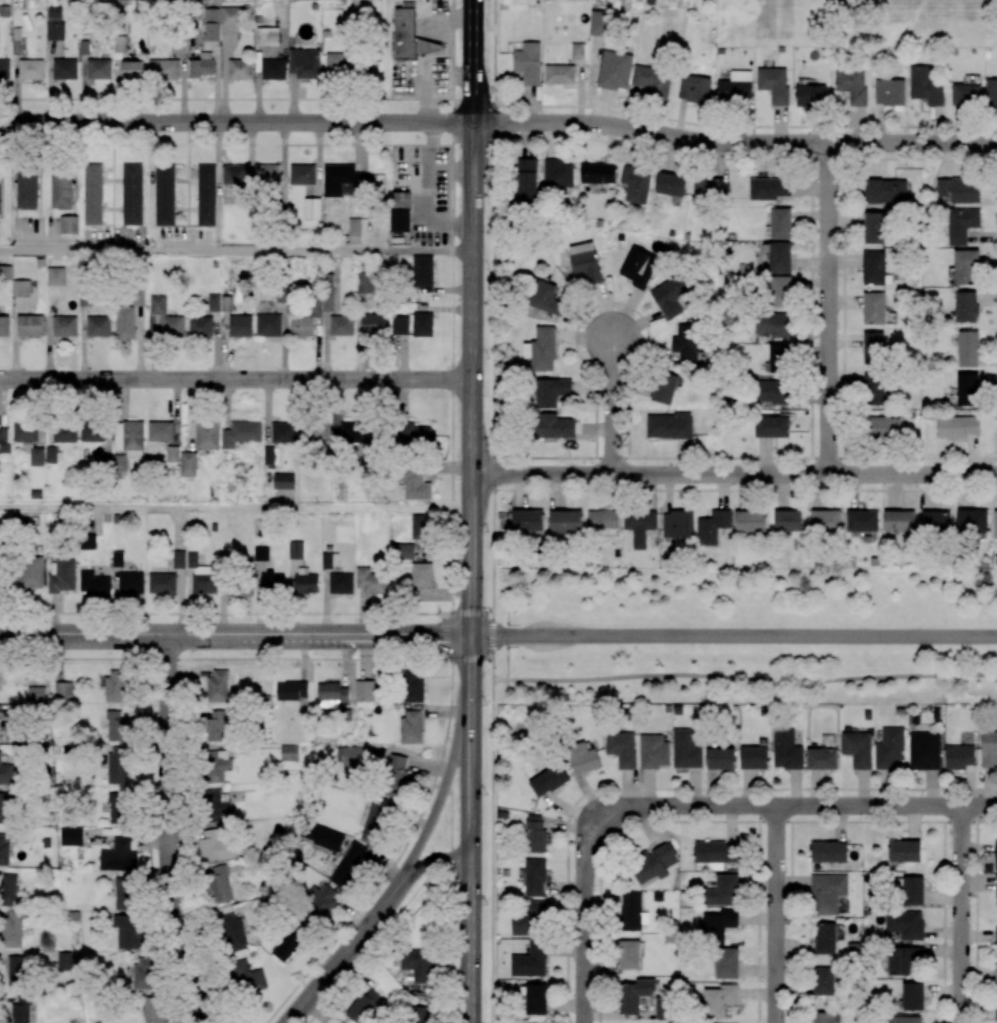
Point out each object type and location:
building: (230, 16)
building: (598, 22)
building: (54, 23)
building: (212, 31)
building: (404, 33)
building: (17, 41)
building: (577, 50)
building: (304, 63)
building: (341, 63)
building: (528, 63)
building: (202, 65)
building: (4, 69)
building: (30, 69)
building: (64, 69)
building: (98, 69)
building: (163, 69)
building: (240, 69)
building: (273, 69)
building: (132, 70)
building: (614, 70)
building: (559, 74)
building: (652, 80)
building: (773, 84)
building: (852, 85)
building: (925, 86)
building: (735, 87)
building: (694, 89)
building: (889, 92)
building: (991, 92)
building: (966, 95)
building: (811, 96)
road: (235, 122)
road: (733, 142)
road: (449, 171)
building: (597, 173)
building: (302, 174)
building: (557, 174)
building: (234, 175)
building: (267, 175)
building: (526, 179)
building: (342, 181)
building: (634, 183)
building: (671, 184)
building: (708, 188)
building: (769, 188)
building: (27, 189)
building: (62, 189)
building: (959, 189)
building: (884, 191)
building: (93, 194)
building: (132, 194)
building: (164, 195)
building: (206, 195)
road: (428, 195)
building: (401, 199)
building: (312, 208)
building: (399, 220)
building: (780, 223)
building: (68, 224)
building: (961, 224)
building: (354, 227)
building: (874, 227)
road: (235, 252)
building: (779, 257)
building: (585, 261)
building: (639, 265)
building: (965, 267)
building: (873, 268)
building: (423, 271)
building: (56, 276)
building: (365, 282)
building: (21, 288)
building: (780, 291)
building: (328, 292)
building: (672, 297)
building: (545, 298)
building: (85, 299)
building: (213, 302)
road: (493, 306)
road: (452, 307)
building: (965, 307)
road: (827, 308)
building: (873, 309)
road: (471, 317)
building: (163, 318)
building: (125, 322)
building: (373, 324)
building: (421, 324)
building: (772, 324)
building: (4, 325)
building: (30, 325)
building: (240, 325)
building: (268, 325)
building: (341, 325)
building: (400, 325)
building: (64, 326)
building: (98, 326)
building: (200, 326)
building: (301, 326)
building: (687, 344)
building: (873, 348)
building: (967, 349)
building: (541, 350)
building: (778, 359)
road: (235, 379)
building: (664, 388)
building: (874, 389)
building: (967, 389)
building: (551, 391)
building: (771, 391)
road: (611, 405)
building: (668, 425)
building: (554, 426)
building: (772, 427)
building: (882, 427)
building: (958, 427)
building: (92, 431)
building: (160, 431)
building: (316, 431)
building: (25, 432)
building: (64, 433)
building: (283, 433)
building: (353, 433)
building: (3, 434)
building: (241, 434)
building: (415, 434)
building: (207, 435)
building: (129, 437)
building: (50, 454)
building: (172, 454)
building: (36, 456)
building: (268, 456)
building: (120, 463)
building: (188, 464)
road: (733, 474)
building: (283, 481)
building: (415, 485)
road: (235, 506)
building: (602, 519)
building: (527, 520)
building: (787, 520)
building: (825, 520)
building: (971, 520)
building: (750, 521)
building: (861, 521)
building: (899, 521)
building: (936, 521)
building: (565, 522)
building: (677, 524)
building: (995, 524)
building: (639, 526)
building: (420, 527)
building: (712, 527)
building: (88, 542)
building: (295, 550)
building: (405, 552)
building: (261, 553)
building: (117, 559)
building: (179, 559)
building: (330, 560)
building: (196, 564)
building: (29, 572)
building: (422, 574)
building: (63, 576)
building: (306, 581)
building: (370, 581)
building: (131, 582)
building: (272, 582)
building: (162, 583)
building: (204, 583)
building: (341, 583)
building: (93, 584)
building: (238, 587)
road: (268, 614)
road: (234, 635)
park: (744, 635)
traffic signals: (470, 636)
road: (733, 636)
road: (470, 652)
road: (456, 658)
road: (744, 677)
building: (115, 685)
building: (218, 686)
building: (413, 686)
building: (63, 690)
building: (292, 690)
building: (365, 690)
building: (36, 694)
building: (331, 695)
building: (115, 725)
building: (217, 726)
building: (411, 727)
building: (621, 748)
building: (686, 748)
building: (857, 748)
building: (890, 748)
building: (989, 749)
building: (786, 750)
building: (925, 750)
building: (289, 752)
building: (653, 752)
building: (959, 756)
building: (351, 758)
building: (583, 758)
building: (720, 758)
building: (754, 758)
building: (822, 759)
building: (215, 764)
building: (117, 765)
building: (6, 774)
building: (396, 775)
road: (446, 780)
building: (548, 780)
road: (887, 805)
building: (215, 806)
building: (2, 807)
building: (117, 808)
building: (374, 823)
road: (168, 831)
road: (593, 831)
building: (535, 834)
building: (71, 836)
building: (322, 836)
building: (215, 845)
road: (469, 845)
building: (4, 849)
road: (491, 850)
building: (904, 851)
building: (828, 852)
building: (713, 853)
building: (996, 855)
building: (118, 856)
road: (430, 862)
building: (653, 863)
building: (348, 864)
building: (534, 877)
building: (218, 883)
building: (8, 889)
building: (913, 890)
building: (122, 892)
building: (723, 892)
building: (996, 892)
building: (827, 893)
building: (318, 902)
building: (630, 911)
road: (776, 914)
road: (961, 914)
building: (530, 919)
building: (905, 924)
building: (719, 925)
building: (12, 928)
building: (127, 931)
building: (232, 932)
building: (996, 935)
building: (825, 938)
building: (286, 946)
road: (343, 954)
building: (628, 954)
building: (902, 959)
building: (65, 961)
building: (530, 961)
building: (727, 963)
building: (417, 964)
building: (16, 971)
building: (143, 973)
building: (995, 973)
building: (246, 978)
building: (823, 981)
building: (634, 995)
building: (912, 996)
building: (535, 998)
building: (719, 1000)
building: (364, 1006)
building: (21, 1010)
building: (153, 1010)
building: (996, 1013)
building: (416, 1014)
building: (826, 1017)
building: (904, 1019)

